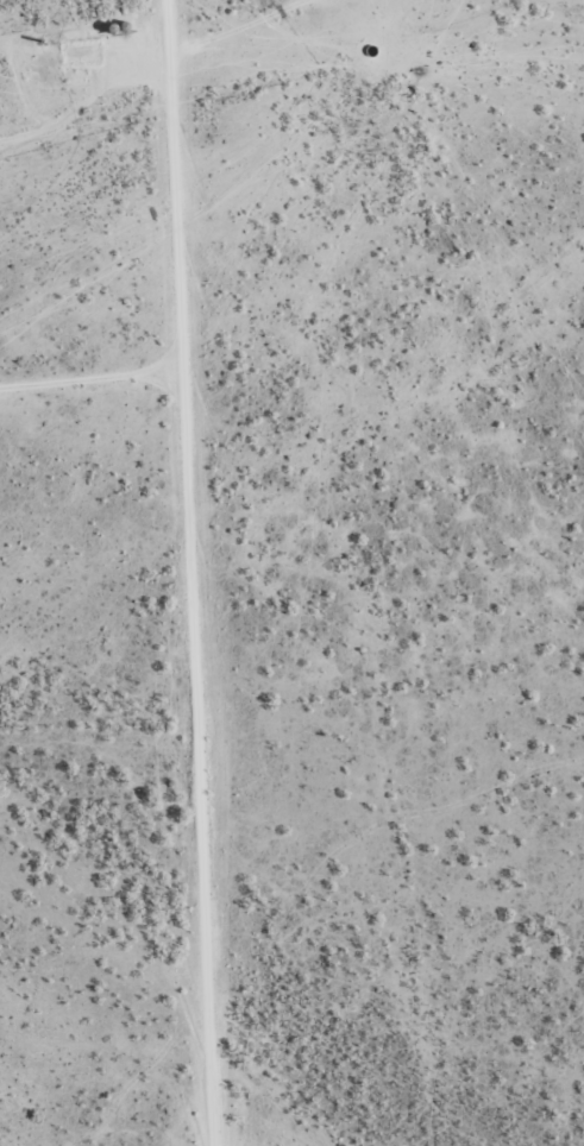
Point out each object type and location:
road: (159, 90)
road: (161, 573)

